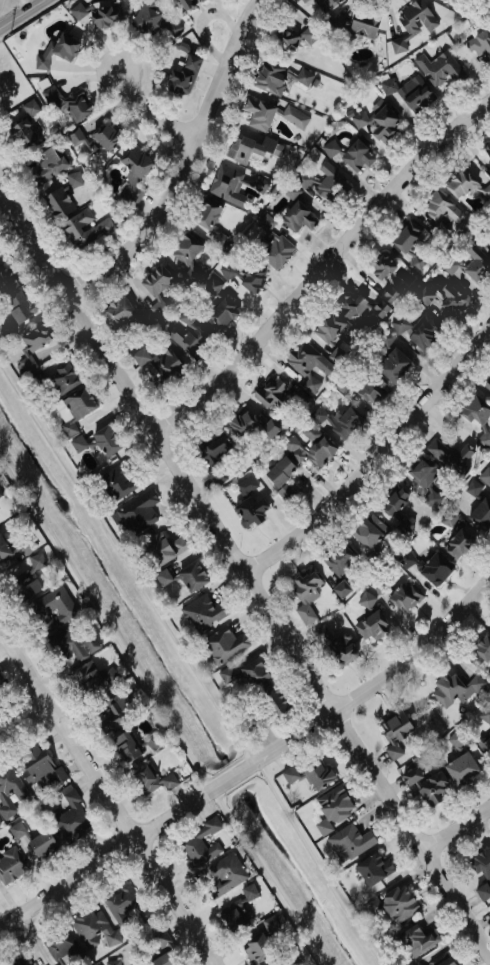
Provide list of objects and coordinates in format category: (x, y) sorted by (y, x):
building: (321, 2)
building: (187, 3)
building: (296, 3)
road: (22, 14)
building: (101, 16)
building: (413, 17)
building: (155, 21)
building: (336, 21)
building: (362, 24)
building: (290, 37)
building: (479, 45)
building: (56, 51)
building: (439, 68)
building: (183, 76)
building: (270, 77)
building: (303, 77)
building: (409, 92)
building: (69, 101)
road: (151, 102)
building: (270, 114)
building: (377, 121)
building: (20, 133)
building: (105, 137)
building: (77, 138)
building: (251, 149)
building: (486, 149)
building: (348, 153)
road: (190, 162)
building: (50, 163)
building: (133, 175)
building: (489, 176)
building: (322, 182)
building: (459, 183)
building: (227, 185)
building: (290, 192)
building: (485, 192)
building: (57, 203)
building: (440, 207)
building: (294, 215)
building: (206, 221)
building: (84, 229)
building: (439, 231)
building: (489, 242)
building: (270, 244)
building: (410, 244)
building: (185, 249)
building: (469, 263)
road: (324, 267)
building: (376, 269)
building: (244, 277)
building: (155, 280)
building: (6, 281)
building: (212, 286)
building: (387, 295)
building: (443, 300)
building: (18, 306)
building: (347, 306)
building: (158, 307)
building: (378, 309)
building: (117, 310)
building: (221, 313)
building: (398, 323)
building: (326, 327)
building: (6, 328)
building: (424, 332)
building: (186, 333)
building: (384, 339)
building: (32, 346)
building: (336, 355)
building: (158, 364)
building: (306, 365)
building: (392, 365)
building: (63, 378)
building: (487, 384)
building: (372, 390)
building: (271, 391)
building: (489, 401)
building: (73, 408)
building: (317, 415)
building: (476, 418)
building: (345, 422)
building: (248, 425)
building: (105, 440)
building: (309, 447)
building: (448, 454)
building: (214, 457)
road: (377, 457)
building: (421, 471)
building: (279, 472)
building: (485, 475)
building: (116, 481)
building: (471, 488)
building: (285, 492)
building: (0, 493)
building: (430, 498)
building: (393, 502)
building: (249, 503)
building: (134, 513)
building: (480, 514)
building: (447, 518)
building: (368, 531)
building: (458, 541)
building: (161, 548)
building: (4, 550)
road: (245, 559)
building: (337, 559)
building: (36, 561)
building: (434, 568)
building: (191, 576)
building: (162, 577)
building: (23, 583)
building: (341, 589)
building: (304, 593)
building: (404, 596)
building: (365, 600)
building: (52, 608)
building: (203, 612)
building: (371, 625)
building: (73, 644)
building: (223, 645)
building: (481, 649)
building: (340, 651)
building: (252, 672)
building: (226, 675)
building: (92, 678)
building: (1, 679)
building: (447, 687)
building: (270, 700)
building: (485, 714)
building: (108, 718)
road: (23, 720)
building: (394, 731)
building: (152, 742)
building: (485, 743)
building: (125, 747)
road: (253, 767)
building: (460, 768)
building: (38, 769)
building: (289, 774)
building: (316, 776)
building: (145, 780)
building: (167, 780)
building: (425, 785)
building: (9, 791)
road: (106, 798)
building: (332, 808)
building: (71, 814)
road: (460, 829)
building: (17, 831)
building: (349, 842)
building: (41, 845)
building: (198, 849)
building: (10, 865)
building: (373, 868)
building: (482, 872)
building: (224, 874)
building: (119, 901)
building: (392, 904)
building: (232, 920)
building: (269, 924)
building: (93, 927)
building: (417, 940)
building: (60, 945)
building: (257, 947)
building: (164, 951)
building: (289, 959)
building: (436, 959)
building: (19, 962)
building: (111, 962)

